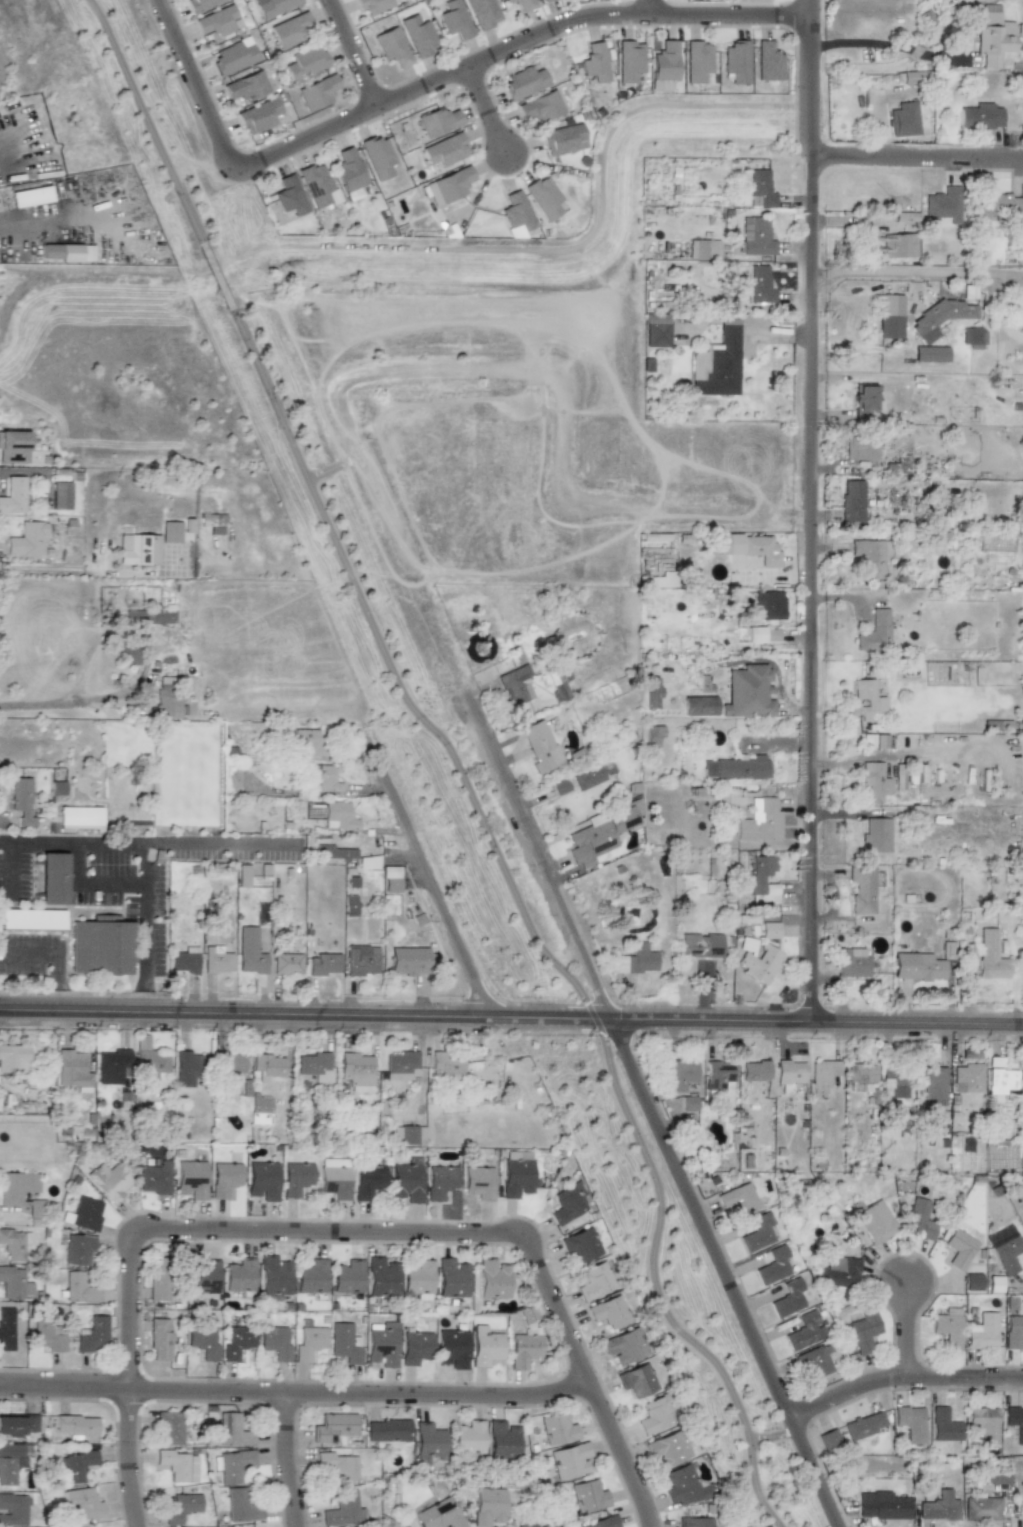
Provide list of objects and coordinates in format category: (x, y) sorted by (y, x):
building: (541, 0)
building: (506, 1)
building: (201, 4)
building: (524, 5)
building: (272, 7)
road: (648, 8)
building: (483, 12)
road: (695, 17)
building: (454, 20)
building: (217, 21)
building: (291, 29)
building: (418, 35)
building: (993, 36)
road: (888, 45)
building: (392, 47)
road: (351, 52)
building: (233, 56)
building: (628, 60)
building: (696, 61)
building: (767, 61)
building: (304, 62)
building: (593, 63)
building: (735, 64)
building: (663, 66)
building: (916, 77)
building: (523, 82)
road: (192, 84)
building: (245, 86)
building: (317, 92)
road: (400, 92)
building: (540, 107)
road: (484, 111)
building: (258, 115)
building: (980, 116)
building: (904, 120)
building: (437, 121)
building: (562, 139)
building: (444, 150)
building: (377, 157)
road: (921, 163)
building: (348, 174)
building: (315, 184)
building: (447, 185)
building: (760, 189)
building: (288, 195)
building: (30, 196)
building: (543, 198)
building: (998, 204)
building: (943, 205)
building: (515, 211)
road: (29, 224)
building: (756, 237)
building: (900, 245)
road: (574, 249)
building: (703, 250)
building: (68, 252)
road: (920, 272)
road: (74, 276)
building: (760, 285)
building: (939, 316)
building: (890, 326)
building: (656, 330)
building: (972, 338)
building: (930, 354)
building: (717, 363)
building: (865, 402)
building: (13, 447)
building: (861, 447)
building: (13, 495)
building: (60, 495)
building: (852, 501)
road: (817, 513)
building: (170, 532)
building: (27, 539)
building: (996, 543)
building: (749, 547)
building: (138, 549)
building: (871, 556)
road: (92, 571)
building: (770, 604)
building: (149, 615)
building: (874, 632)
building: (129, 655)
building: (558, 681)
building: (515, 685)
building: (749, 692)
road: (93, 697)
building: (868, 700)
building: (167, 705)
building: (653, 734)
building: (307, 742)
building: (540, 745)
road: (446, 757)
building: (736, 768)
building: (588, 777)
building: (323, 779)
building: (874, 781)
building: (560, 786)
building: (57, 788)
building: (21, 800)
building: (79, 816)
building: (338, 816)
building: (760, 821)
building: (599, 835)
building: (876, 835)
road: (5, 841)
road: (138, 842)
road: (218, 842)
building: (333, 853)
building: (243, 876)
building: (53, 878)
building: (391, 879)
building: (762, 880)
road: (90, 882)
building: (862, 889)
road: (435, 892)
building: (349, 905)
building: (32, 919)
building: (769, 930)
building: (700, 945)
building: (101, 946)
building: (249, 951)
building: (989, 956)
road: (56, 960)
building: (184, 960)
building: (216, 960)
building: (362, 960)
building: (636, 960)
building: (408, 961)
building: (852, 962)
building: (760, 963)
building: (287, 964)
building: (323, 964)
building: (917, 967)
road: (511, 1023)
building: (13, 1058)
building: (150, 1063)
building: (232, 1064)
building: (445, 1065)
building: (112, 1066)
building: (267, 1066)
building: (314, 1066)
building: (401, 1066)
building: (186, 1068)
building: (356, 1068)
building: (71, 1069)
building: (754, 1071)
building: (824, 1071)
building: (789, 1072)
building: (680, 1074)
building: (718, 1074)
building: (1022, 1076)
building: (968, 1077)
building: (861, 1078)
building: (1002, 1079)
building: (933, 1083)
building: (688, 1103)
building: (259, 1109)
road: (649, 1113)
building: (408, 1134)
building: (1000, 1160)
building: (154, 1178)
building: (224, 1178)
building: (296, 1178)
building: (516, 1178)
building: (190, 1179)
building: (262, 1180)
building: (367, 1181)
building: (109, 1182)
building: (406, 1182)
building: (440, 1182)
building: (478, 1182)
building: (16, 1186)
building: (738, 1199)
building: (568, 1202)
building: (36, 1209)
building: (85, 1213)
building: (918, 1220)
building: (875, 1222)
road: (246, 1232)
building: (758, 1233)
building: (14, 1244)
building: (581, 1244)
building: (959, 1248)
building: (77, 1249)
building: (1005, 1249)
building: (773, 1266)
building: (839, 1272)
building: (238, 1275)
building: (274, 1276)
building: (310, 1277)
building: (347, 1277)
building: (380, 1277)
building: (159, 1278)
building: (417, 1278)
building: (451, 1278)
building: (203, 1279)
building: (492, 1279)
building: (595, 1281)
building: (14, 1283)
building: (80, 1287)
building: (787, 1298)
building: (608, 1312)
building: (947, 1327)
building: (6, 1329)
road: (909, 1330)
building: (804, 1331)
building: (863, 1331)
building: (982, 1331)
building: (1014, 1333)
building: (93, 1334)
building: (48, 1335)
building: (159, 1340)
building: (202, 1341)
building: (236, 1342)
building: (274, 1342)
building: (343, 1343)
building: (382, 1344)
building: (484, 1346)
building: (625, 1346)
building: (414, 1347)
building: (451, 1348)
building: (523, 1349)
building: (813, 1363)
road: (900, 1378)
road: (589, 1380)
building: (637, 1380)
road: (296, 1396)
building: (655, 1415)
building: (1015, 1422)
building: (909, 1423)
building: (983, 1424)
building: (11, 1425)
building: (75, 1425)
building: (864, 1425)
building: (333, 1426)
building: (944, 1426)
building: (169, 1428)
building: (556, 1429)
building: (387, 1432)
building: (468, 1438)
building: (428, 1440)
building: (828, 1440)
building: (501, 1441)
building: (667, 1449)
building: (569, 1460)
road: (131, 1461)
road: (289, 1461)
building: (10, 1462)
building: (177, 1465)
building: (233, 1465)
building: (74, 1466)
building: (334, 1467)
building: (683, 1485)
building: (587, 1496)
building: (83, 1503)
building: (242, 1504)
building: (486, 1506)
building: (881, 1506)
building: (180, 1507)
building: (938, 1507)
building: (981, 1509)
building: (13, 1510)
building: (342, 1510)
building: (438, 1515)
building: (694, 1522)
building: (599, 1523)
building: (525, 1524)
building: (543, 1526)

